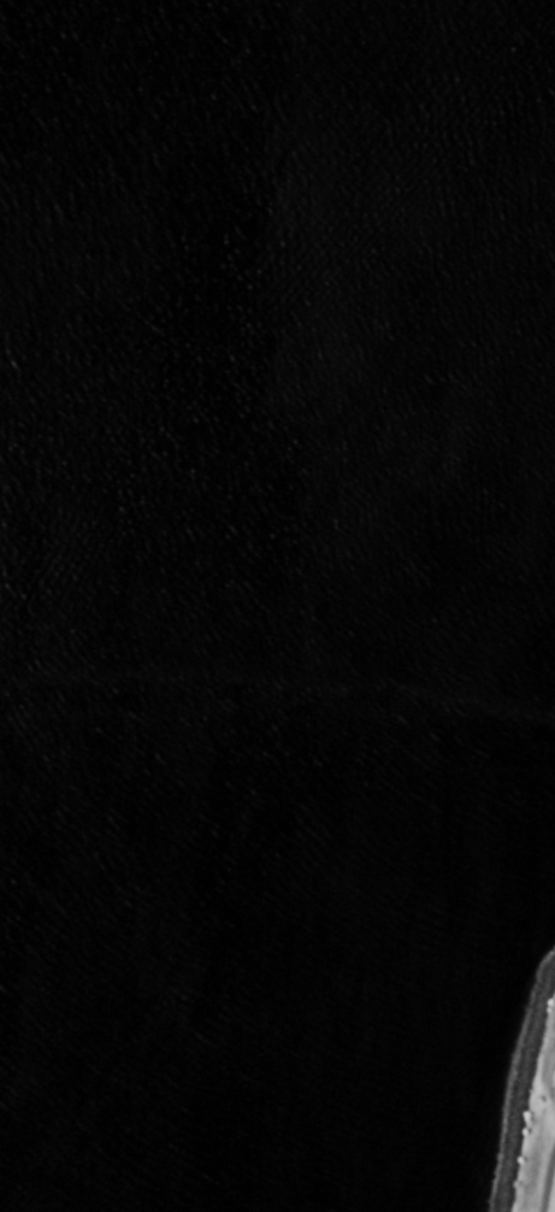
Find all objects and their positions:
river: (237, 460)
road: (549, 1088)
road: (541, 1170)

